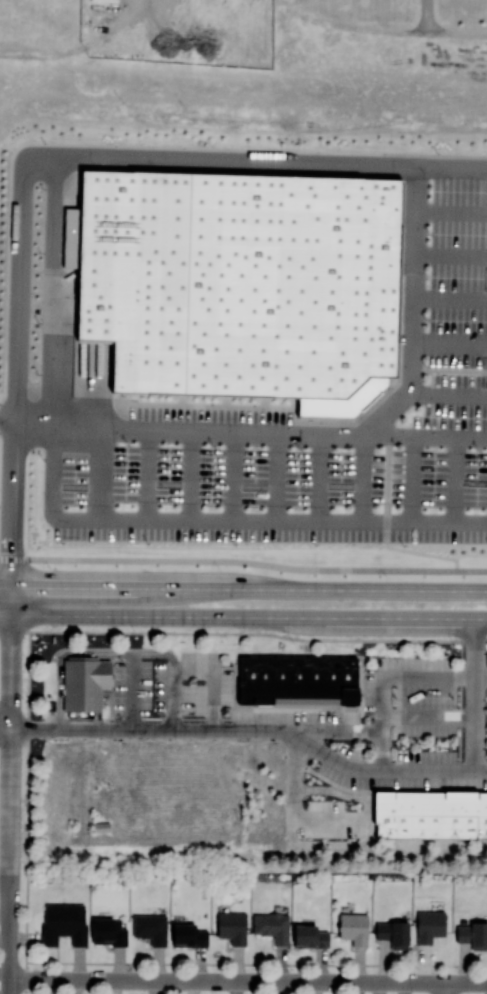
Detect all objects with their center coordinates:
road: (425, 14)
park: (258, 29)
road: (78, 48)
road: (38, 154)
road: (452, 213)
road: (416, 253)
road: (451, 256)
building: (246, 282)
road: (58, 290)
road: (451, 299)
road: (451, 343)
road: (450, 370)
road: (434, 381)
road: (450, 393)
road: (406, 398)
road: (5, 416)
road: (185, 433)
road: (424, 439)
road: (100, 477)
road: (150, 477)
road: (196, 478)
road: (236, 478)
road: (280, 479)
road: (320, 479)
road: (361, 480)
road: (415, 481)
road: (457, 481)
road: (224, 522)
road: (386, 532)
road: (243, 560)
road: (243, 589)
road: (243, 616)
road: (243, 632)
road: (60, 654)
road: (173, 672)
road: (213, 679)
building: (301, 679)
road: (481, 679)
road: (385, 680)
building: (84, 682)
road: (132, 690)
road: (475, 693)
road: (429, 717)
road: (5, 722)
road: (253, 730)
road: (340, 730)
road: (11, 744)
building: (430, 814)
road: (331, 819)
road: (341, 847)
building: (64, 923)
building: (429, 925)
building: (232, 926)
building: (272, 926)
building: (150, 928)
building: (354, 928)
building: (108, 931)
building: (393, 933)
building: (473, 934)
building: (188, 935)
building: (309, 936)
road: (10, 947)
road: (248, 980)
road: (445, 988)

